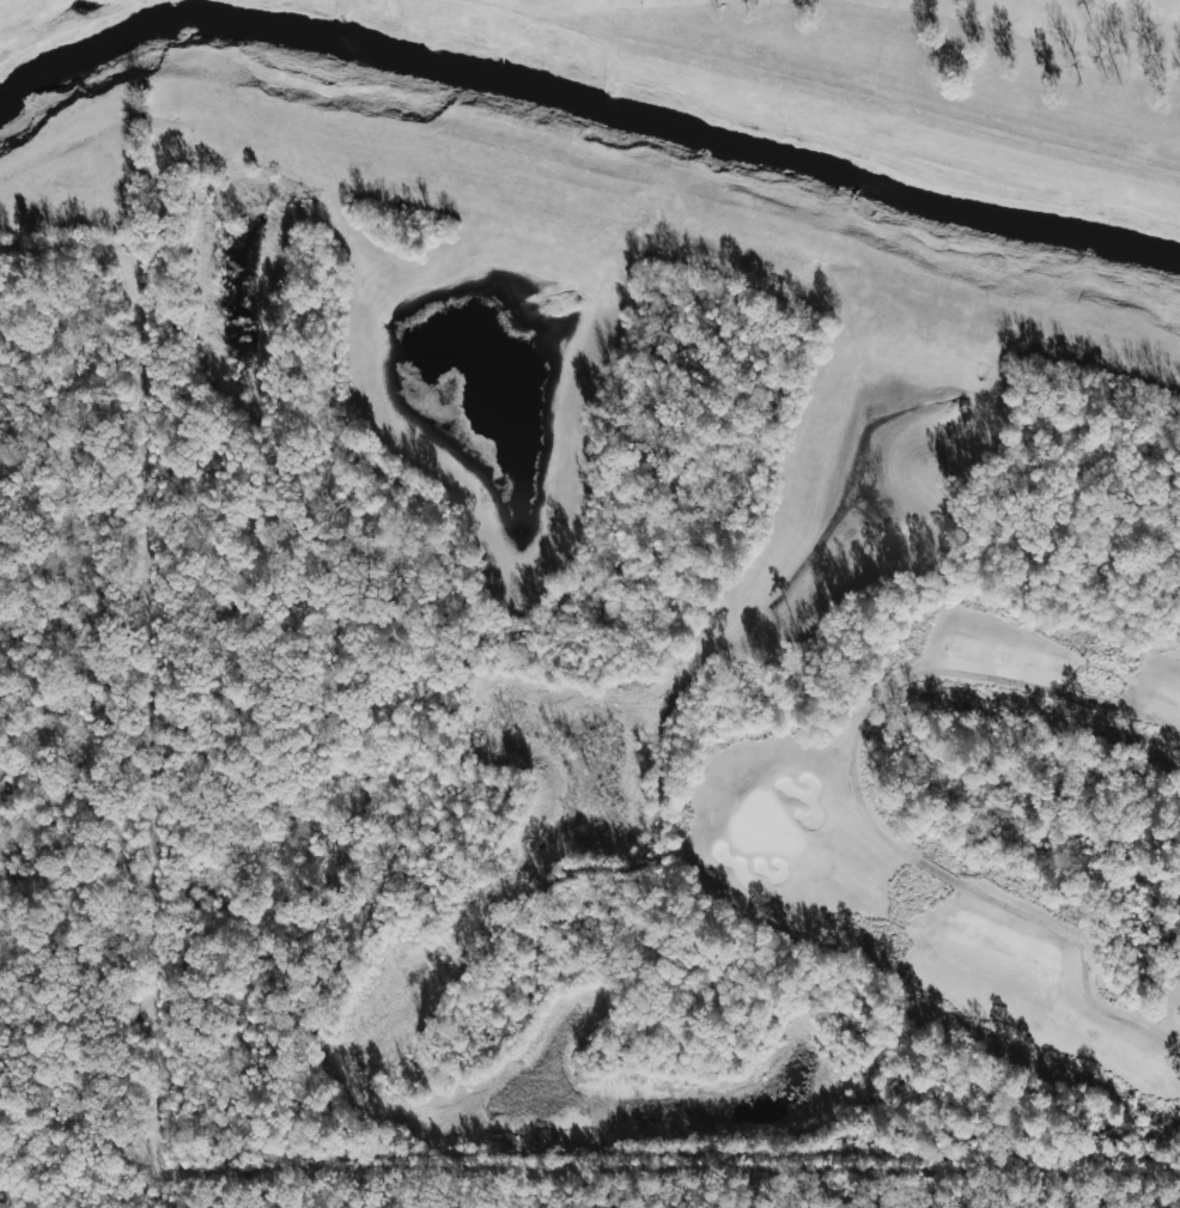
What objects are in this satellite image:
park: (924, 60)
river: (588, 125)
park: (667, 578)
park: (979, 834)

